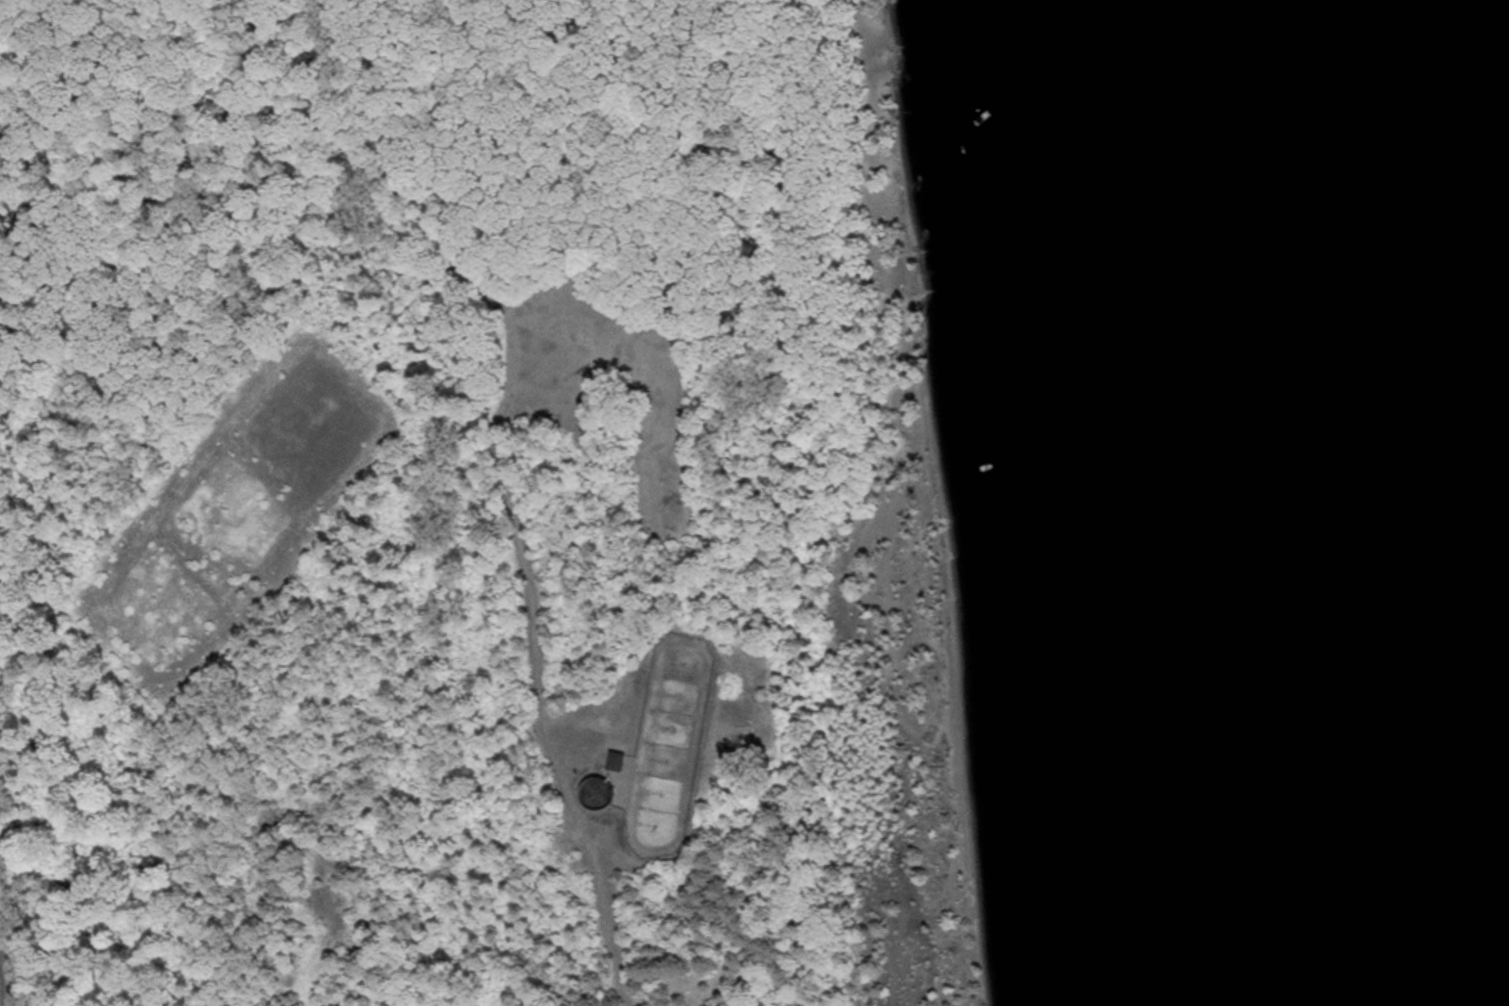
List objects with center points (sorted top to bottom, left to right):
road: (509, 499)
park: (530, 509)
building: (621, 762)
road: (4, 981)

